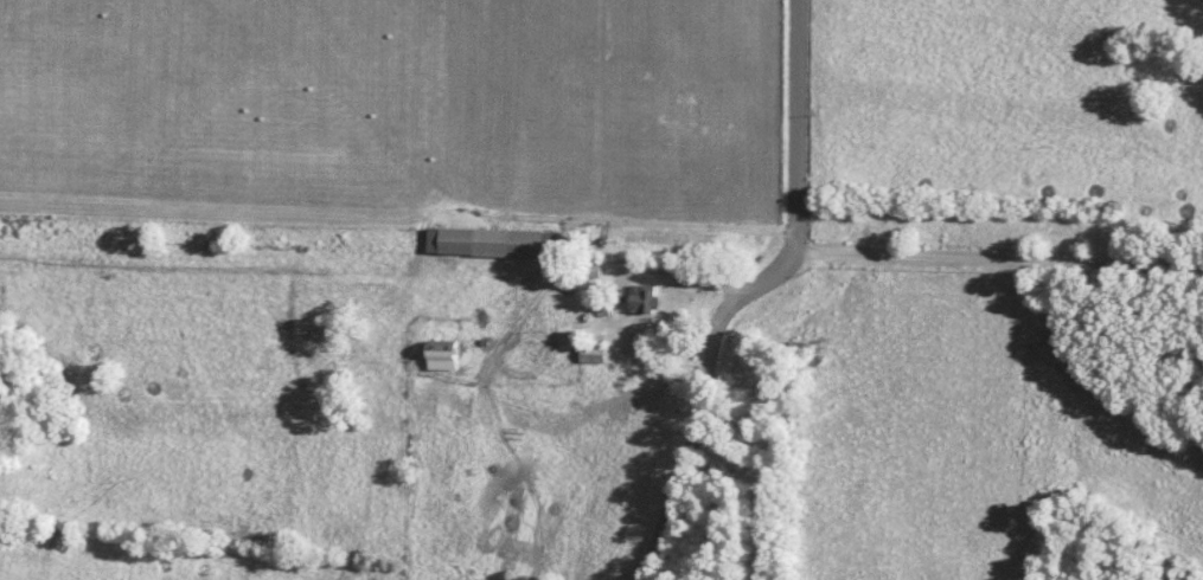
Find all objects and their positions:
airport runway: (388, 182)
building: (489, 241)
road: (999, 256)
road: (751, 292)
building: (646, 298)
building: (594, 354)
building: (446, 355)

